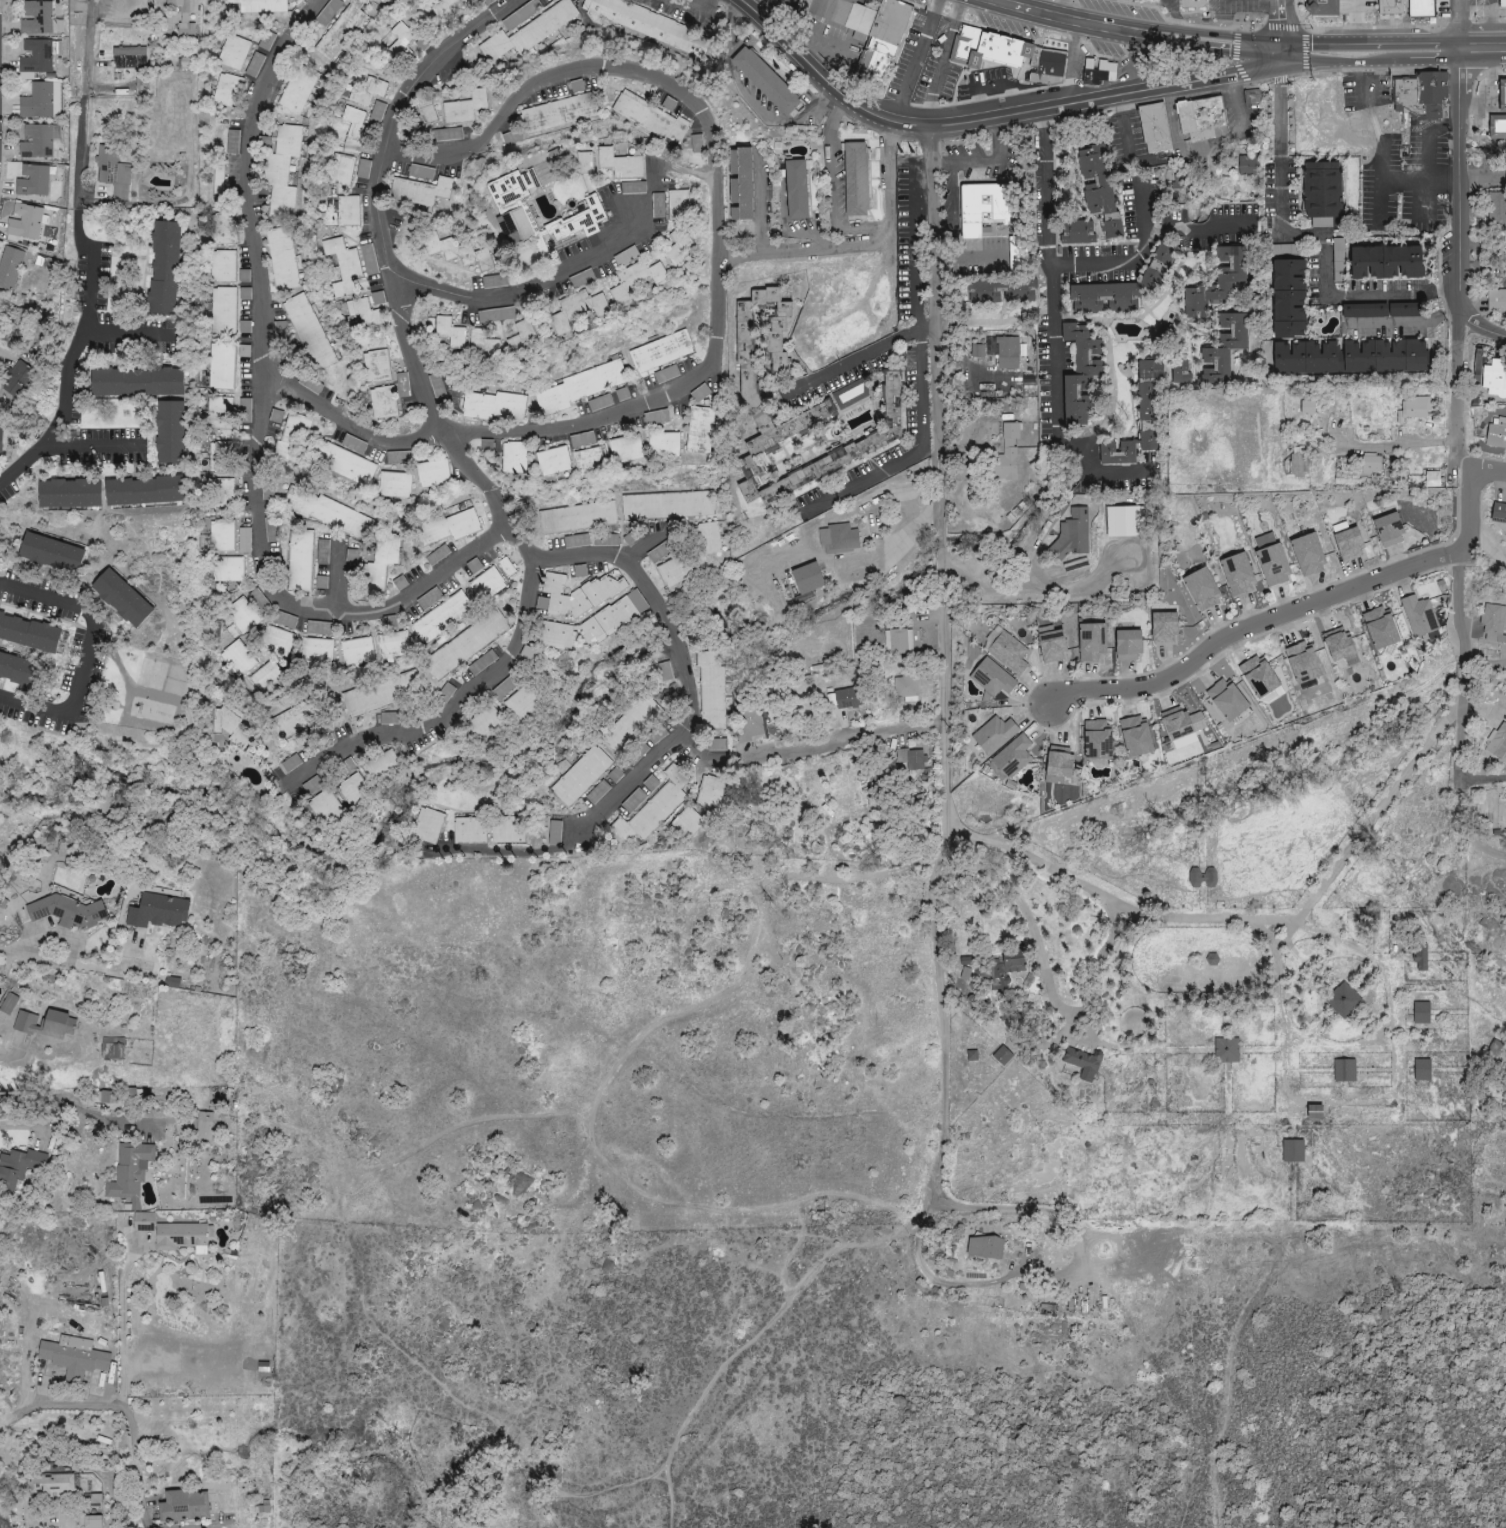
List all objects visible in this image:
building: (383, 1)
building: (1503, 4)
building: (259, 6)
building: (1322, 7)
building: (449, 8)
building: (1392, 8)
building: (1421, 8)
building: (1441, 9)
road: (1058, 10)
building: (521, 14)
building: (842, 15)
building: (183, 18)
building: (39, 19)
road: (1479, 22)
building: (646, 24)
road: (1286, 25)
road: (1355, 26)
road: (1458, 26)
street lamp: (1253, 27)
building: (341, 30)
street lamp: (1311, 30)
building: (528, 32)
road: (1486, 37)
building: (885, 38)
road: (1131, 38)
building: (401, 41)
road: (790, 47)
road: (89, 49)
traffic signals: (1283, 51)
building: (234, 52)
road: (1394, 52)
building: (1006, 53)
building: (36, 56)
building: (128, 57)
road: (914, 61)
road: (942, 62)
building: (255, 65)
road: (607, 68)
building: (1097, 71)
street lamp: (1504, 72)
street lamp: (1313, 77)
building: (766, 80)
road: (991, 87)
building: (298, 89)
building: (227, 90)
street lamp: (1269, 90)
building: (368, 91)
building: (1503, 92)
building: (1252, 96)
building: (40, 101)
road: (1090, 101)
building: (465, 107)
road: (1482, 107)
road: (865, 111)
building: (559, 114)
building: (651, 118)
building: (1203, 118)
building: (355, 123)
street lamp: (1058, 123)
building: (1497, 127)
road: (1126, 128)
building: (1155, 128)
building: (447, 134)
building: (233, 140)
building: (35, 142)
road: (1208, 145)
road: (1382, 150)
road: (81, 154)
building: (585, 162)
road: (985, 162)
building: (621, 163)
building: (1249, 166)
building: (363, 169)
building: (281, 170)
building: (341, 170)
building: (112, 174)
building: (857, 179)
building: (32, 180)
building: (1095, 180)
building: (218, 181)
building: (741, 183)
road: (1481, 183)
road: (1457, 186)
building: (633, 187)
building: (797, 189)
building: (420, 191)
building: (1322, 193)
building: (512, 203)
road: (953, 203)
building: (679, 204)
road: (761, 204)
building: (658, 205)
building: (984, 207)
building: (1496, 209)
building: (348, 210)
building: (24, 222)
road: (848, 227)
building: (224, 228)
road: (1193, 228)
building: (1079, 232)
road: (1307, 236)
building: (440, 245)
building: (679, 247)
road: (807, 250)
building: (282, 258)
building: (369, 259)
road: (1134, 259)
building: (1338, 260)
building: (1159, 262)
building: (1388, 262)
building: (1505, 265)
building: (10, 266)
building: (223, 266)
building: (343, 266)
building: (164, 268)
road: (389, 268)
road: (1050, 274)
building: (494, 281)
building: (638, 282)
building: (1217, 282)
road: (517, 290)
building: (997, 291)
building: (1105, 298)
building: (1289, 298)
building: (1496, 300)
building: (579, 309)
building: (223, 310)
building: (1365, 310)
building: (365, 312)
building: (496, 315)
road: (1403, 321)
building: (836, 329)
road: (1480, 329)
building: (309, 332)
building: (450, 332)
road: (122, 336)
building: (522, 337)
building: (482, 343)
building: (1224, 348)
building: (977, 351)
building: (661, 352)
road: (870, 353)
road: (75, 355)
building: (1386, 356)
building: (1308, 358)
building: (221, 366)
building: (376, 366)
building: (748, 371)
building: (1180, 371)
building: (1082, 375)
building: (15, 378)
building: (1495, 378)
building: (137, 382)
road: (1455, 398)
road: (640, 402)
building: (383, 403)
building: (1149, 403)
building: (494, 407)
building: (1308, 407)
building: (1415, 408)
building: (245, 410)
building: (220, 412)
road: (262, 419)
road: (355, 424)
building: (700, 430)
building: (170, 432)
building: (1497, 434)
building: (293, 438)
building: (0, 440)
building: (664, 445)
road: (1397, 446)
building: (626, 448)
road: (86, 449)
building: (840, 449)
road: (919, 450)
building: (1118, 453)
building: (1007, 454)
building: (219, 457)
building: (398, 457)
building: (514, 457)
building: (554, 461)
building: (591, 461)
building: (1296, 462)
building: (345, 464)
building: (1371, 464)
building: (433, 473)
road: (1488, 474)
building: (1432, 479)
building: (395, 484)
building: (144, 490)
building: (222, 491)
building: (71, 493)
building: (661, 507)
road: (1469, 510)
building: (327, 512)
building: (1499, 513)
building: (577, 518)
building: (1125, 522)
building: (448, 527)
building: (1389, 530)
building: (1073, 533)
building: (708, 538)
building: (839, 538)
building: (244, 540)
building: (576, 541)
building: (606, 541)
building: (1349, 542)
road: (1486, 549)
building: (322, 552)
building: (51, 553)
building: (1309, 555)
building: (351, 556)
building: (437, 556)
building: (300, 560)
building: (1272, 560)
building: (381, 562)
building: (474, 567)
building: (506, 567)
building: (228, 569)
building: (674, 572)
building: (1238, 575)
building: (808, 579)
building: (321, 582)
building: (487, 584)
building: (1202, 590)
building: (577, 595)
building: (122, 598)
building: (429, 599)
building: (259, 601)
building: (245, 616)
building: (1419, 616)
building: (440, 617)
building: (285, 620)
building: (595, 624)
building: (318, 628)
building: (1165, 628)
building: (1380, 628)
road: (1250, 629)
building: (276, 641)
building: (898, 641)
building: (1092, 643)
building: (465, 644)
building: (925, 644)
building: (393, 645)
building: (1052, 645)
building: (1129, 646)
building: (1341, 647)
building: (317, 651)
building: (357, 651)
road: (86, 656)
building: (238, 658)
road: (680, 660)
building: (482, 663)
building: (1304, 665)
road: (1466, 665)
building: (19, 669)
road: (943, 672)
building: (992, 677)
building: (1260, 677)
building: (266, 678)
building: (906, 687)
building: (711, 691)
building: (381, 693)
building: (445, 694)
building: (851, 699)
building: (1228, 699)
road: (457, 709)
building: (389, 718)
building: (225, 721)
building: (292, 721)
building: (1181, 727)
building: (995, 734)
building: (1137, 737)
building: (1098, 739)
building: (1497, 742)
building: (717, 745)
road: (808, 748)
building: (1013, 757)
building: (911, 759)
building: (290, 764)
building: (382, 765)
building: (1060, 766)
building: (615, 775)
building: (581, 776)
road: (1486, 782)
building: (651, 783)
building: (353, 789)
building: (710, 792)
building: (634, 801)
building: (660, 803)
building: (325, 808)
building: (688, 822)
building: (428, 826)
road: (1465, 829)
building: (469, 830)
building: (508, 831)
building: (555, 833)
road: (521, 852)
building: (67, 911)
building: (158, 912)
road: (1243, 921)
building: (1420, 958)
building: (1006, 970)
building: (172, 982)
road: (118, 988)
building: (1343, 1001)
building: (2, 1013)
building: (1421, 1013)
building: (45, 1024)
building: (112, 1048)
building: (1226, 1051)
building: (1002, 1056)
building: (1083, 1063)
building: (1422, 1070)
building: (1344, 1071)
building: (103, 1096)
road: (78, 1110)
building: (1316, 1112)
road: (21, 1124)
building: (206, 1126)
building: (1293, 1151)
building: (19, 1166)
building: (130, 1171)
building: (180, 1235)
building: (985, 1246)
road: (122, 1327)
road: (763, 1339)
building: (74, 1356)
road: (68, 1408)
road: (133, 1466)
building: (50, 1484)
building: (184, 1506)
building: (92, 1521)

